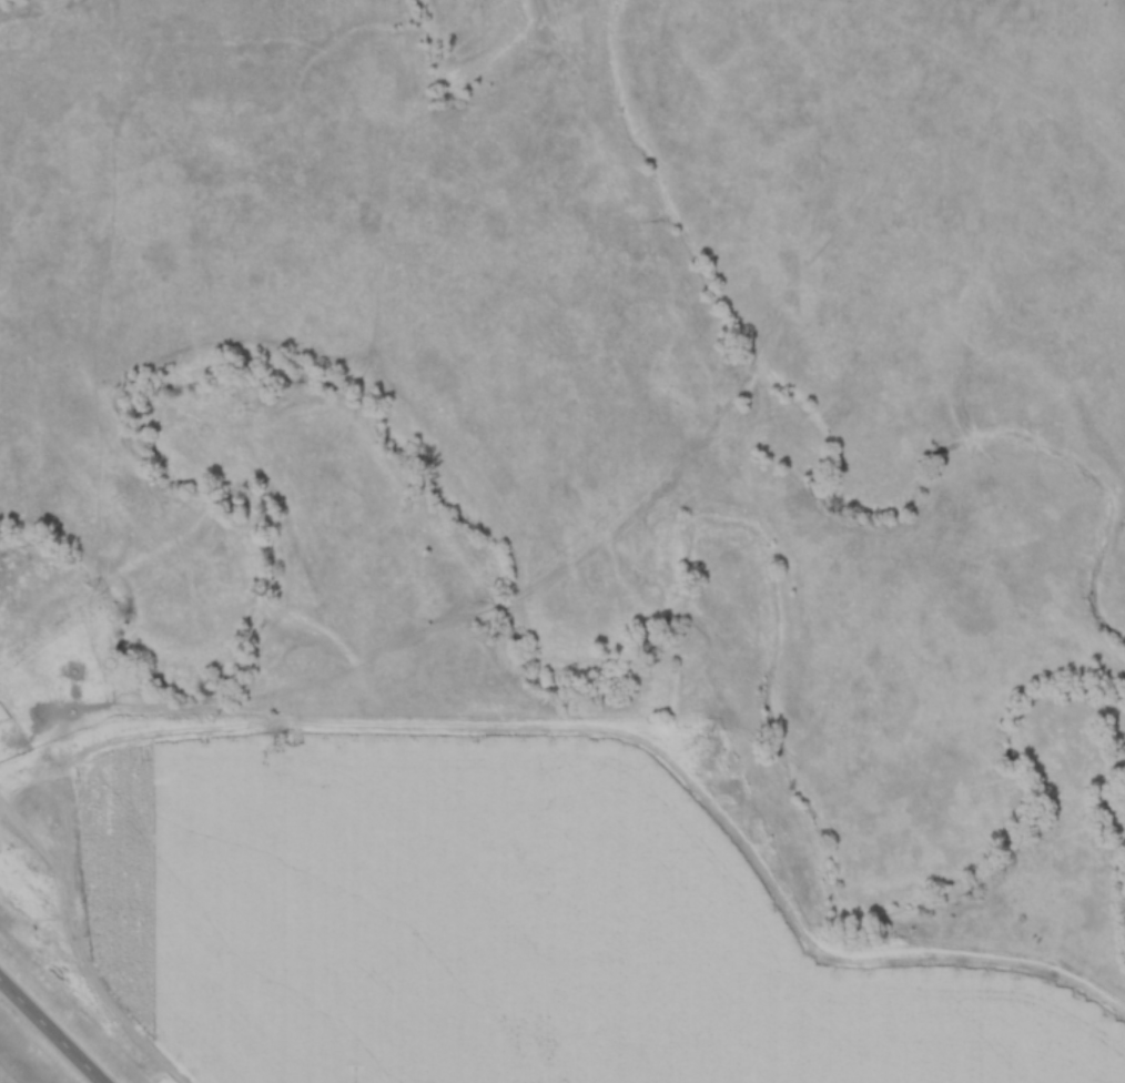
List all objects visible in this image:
building: (733, 762)
road: (52, 1030)

